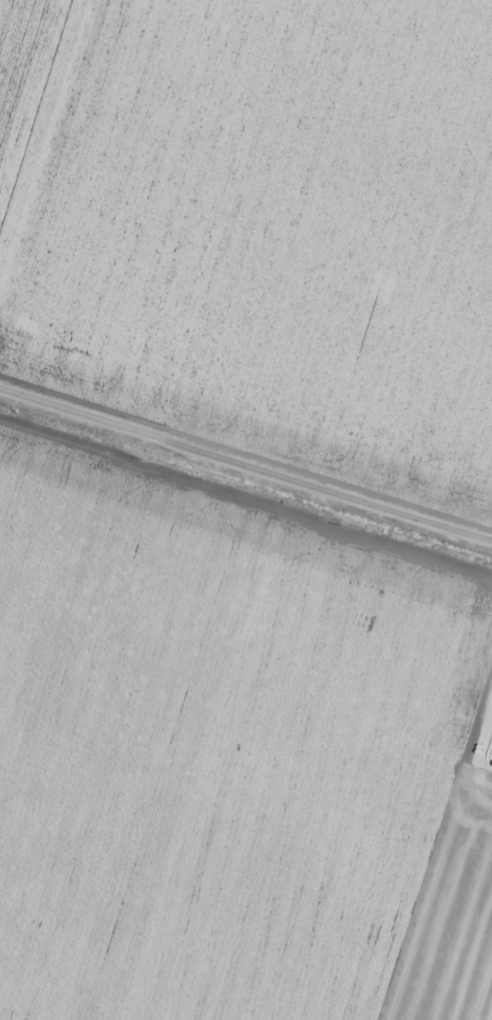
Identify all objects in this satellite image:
building: (67, 124)
road: (246, 448)
building: (470, 943)
building: (483, 1009)

